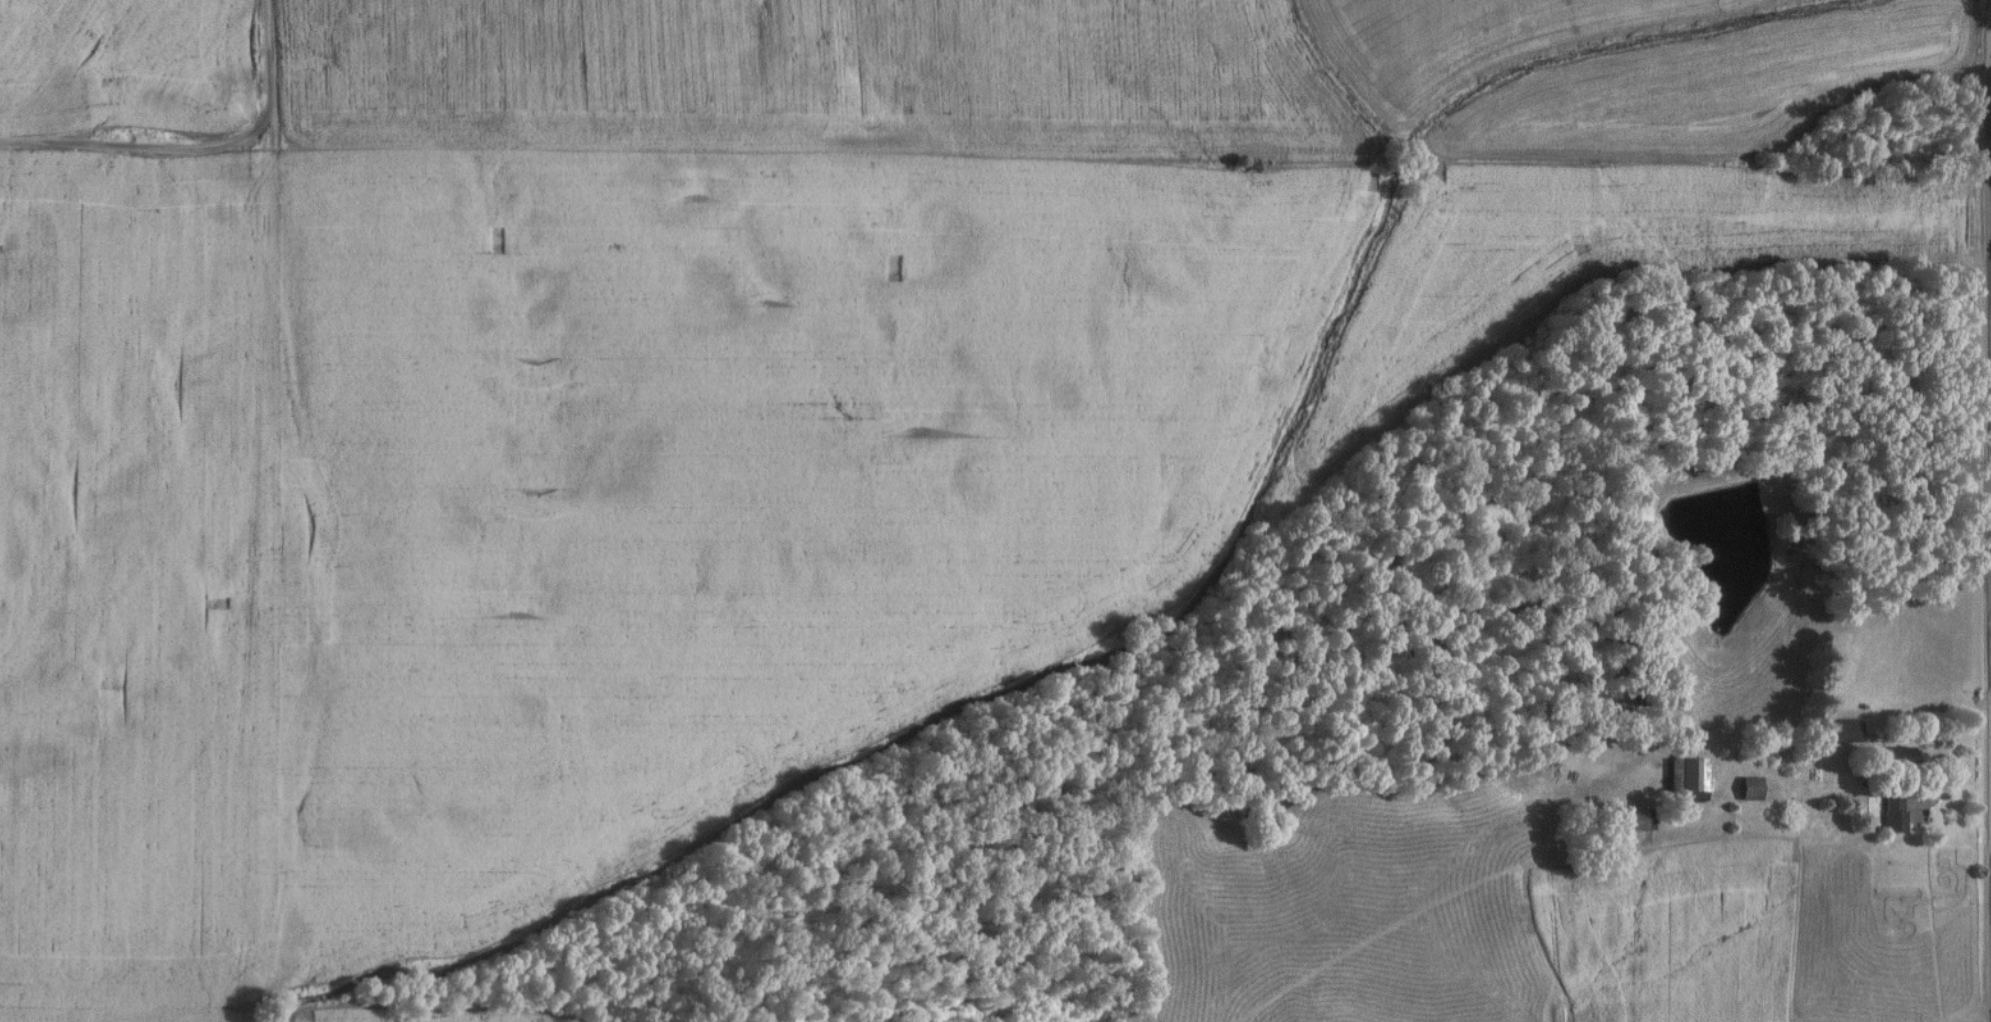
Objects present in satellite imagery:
road: (1990, 108)
building: (1845, 731)
road: (1951, 753)
building: (1686, 776)
building: (1748, 788)
building: (1891, 800)
building: (1634, 823)

